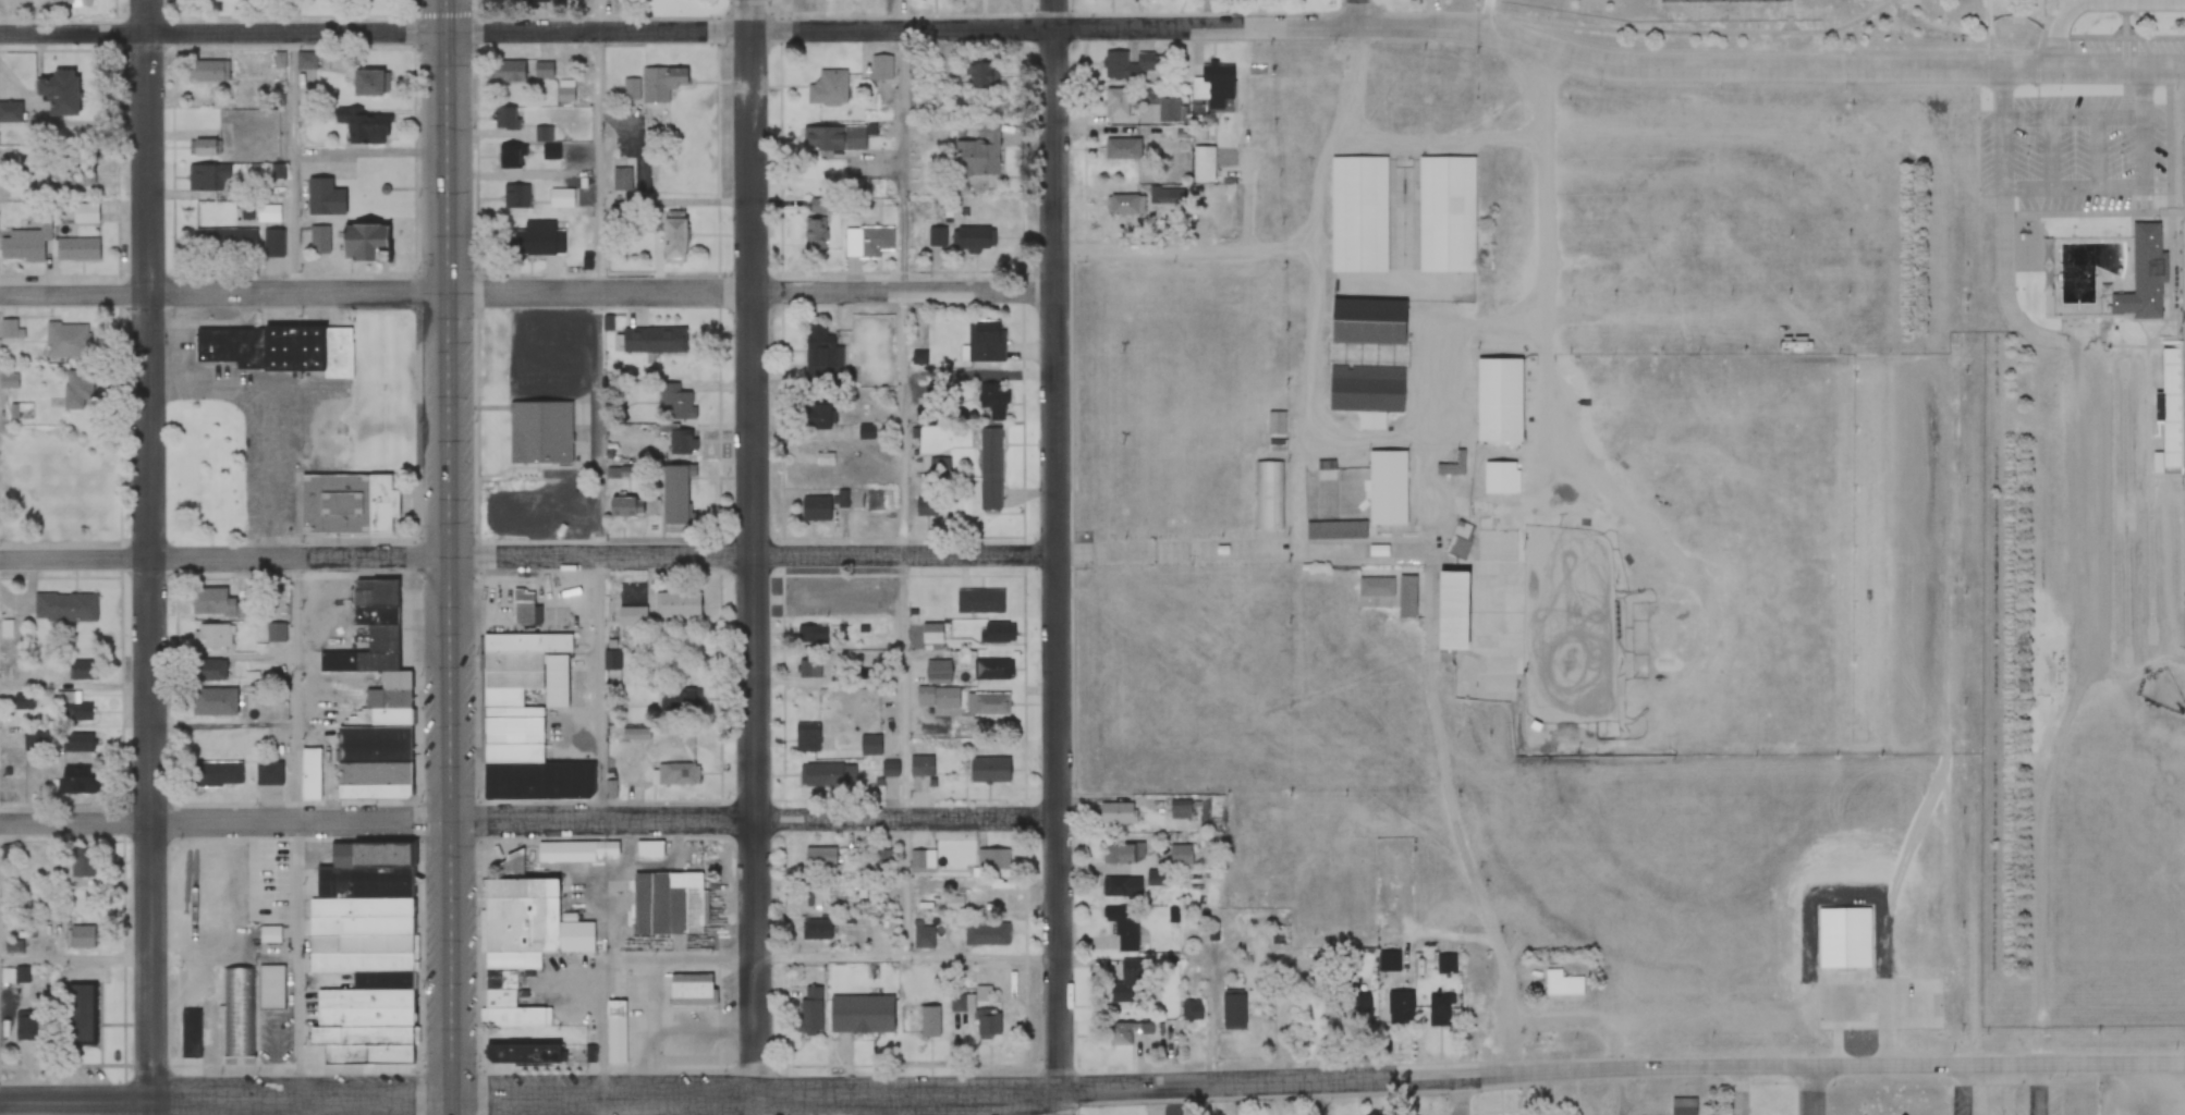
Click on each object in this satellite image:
building: (72, 2)
road: (2063, 5)
road: (1356, 13)
road: (1489, 15)
road: (1318, 26)
road: (223, 33)
building: (306, 61)
building: (1125, 65)
building: (880, 66)
building: (542, 71)
building: (209, 72)
building: (508, 72)
building: (981, 76)
building: (364, 81)
building: (655, 84)
building: (1212, 84)
building: (828, 88)
building: (57, 94)
building: (1118, 101)
building: (1168, 109)
building: (10, 113)
building: (509, 119)
building: (364, 125)
building: (823, 139)
building: (205, 148)
building: (1122, 149)
parking lot: (2077, 150)
building: (551, 152)
building: (976, 155)
building: (514, 158)
building: (1204, 163)
building: (208, 177)
building: (76, 179)
building: (621, 180)
building: (515, 197)
building: (322, 198)
building: (562, 198)
building: (1125, 205)
building: (1357, 213)
building: (1445, 213)
building: (815, 226)
building: (671, 237)
building: (937, 237)
building: (973, 238)
building: (318, 240)
building: (224, 242)
building: (358, 243)
building: (536, 243)
building: (867, 243)
building: (25, 244)
building: (77, 248)
building: (2143, 274)
road: (754, 287)
road: (225, 293)
building: (1367, 320)
building: (11, 330)
building: (654, 340)
building: (66, 341)
building: (986, 341)
building: (279, 350)
building: (821, 355)
building: (528, 357)
building: (9, 381)
building: (76, 389)
building: (1366, 389)
building: (992, 401)
building: (675, 402)
road: (600, 408)
building: (2173, 411)
building: (818, 417)
building: (1277, 424)
building: (539, 431)
building: (682, 441)
building: (939, 468)
building: (989, 469)
building: (1450, 469)
building: (1478, 482)
building: (1386, 487)
road: (903, 492)
building: (674, 493)
building: (1270, 495)
building: (344, 498)
building: (1332, 503)
building: (624, 507)
building: (926, 507)
building: (815, 510)
building: (586, 513)
building: (502, 518)
building: (1458, 540)
road: (2090, 540)
road: (754, 553)
road: (754, 556)
road: (1060, 556)
road: (147, 557)
road: (450, 557)
road: (224, 559)
building: (1375, 586)
building: (1406, 596)
building: (208, 602)
building: (980, 602)
building: (679, 604)
building: (63, 608)
building: (524, 608)
building: (1447, 610)
building: (632, 616)
building: (367, 620)
building: (274, 633)
building: (998, 634)
building: (811, 635)
building: (208, 636)
building: (932, 636)
building: (612, 667)
building: (83, 670)
building: (205, 670)
building: (991, 670)
building: (936, 672)
building: (807, 673)
building: (553, 679)
building: (685, 697)
building: (937, 698)
building: (22, 701)
building: (212, 701)
building: (986, 704)
building: (71, 707)
building: (635, 734)
building: (806, 737)
building: (30, 740)
building: (68, 742)
building: (370, 744)
building: (869, 745)
building: (921, 764)
building: (890, 768)
building: (988, 770)
building: (213, 772)
building: (267, 773)
building: (369, 773)
building: (309, 774)
building: (676, 774)
building: (829, 775)
building: (73, 780)
building: (1180, 810)
building: (1116, 813)
road: (755, 817)
road: (224, 820)
building: (650, 848)
building: (573, 850)
building: (1125, 853)
building: (1180, 855)
building: (882, 856)
building: (823, 857)
building: (994, 859)
building: (921, 861)
building: (80, 869)
building: (1120, 887)
building: (816, 894)
building: (980, 894)
building: (667, 902)
building: (1124, 928)
building: (815, 929)
building: (270, 934)
building: (986, 934)
building: (81, 938)
building: (924, 938)
building: (521, 945)
road: (75, 953)
building: (362, 954)
road: (908, 957)
building: (1388, 963)
building: (14, 977)
building: (1562, 985)
building: (269, 987)
building: (689, 990)
building: (1119, 993)
building: (1256, 997)
building: (1232, 1008)
building: (1358, 1008)
building: (1400, 1008)
building: (810, 1010)
building: (1439, 1010)
building: (82, 1012)
building: (239, 1012)
building: (1193, 1012)
building: (860, 1013)
building: (929, 1022)
building: (988, 1025)
building: (617, 1032)
building: (187, 1033)
building: (1127, 1033)
building: (516, 1055)
road: (1319, 1082)
road: (1815, 1090)
road: (1463, 1095)
road: (227, 1101)
building: (1683, 1106)
road: (0, 1108)

